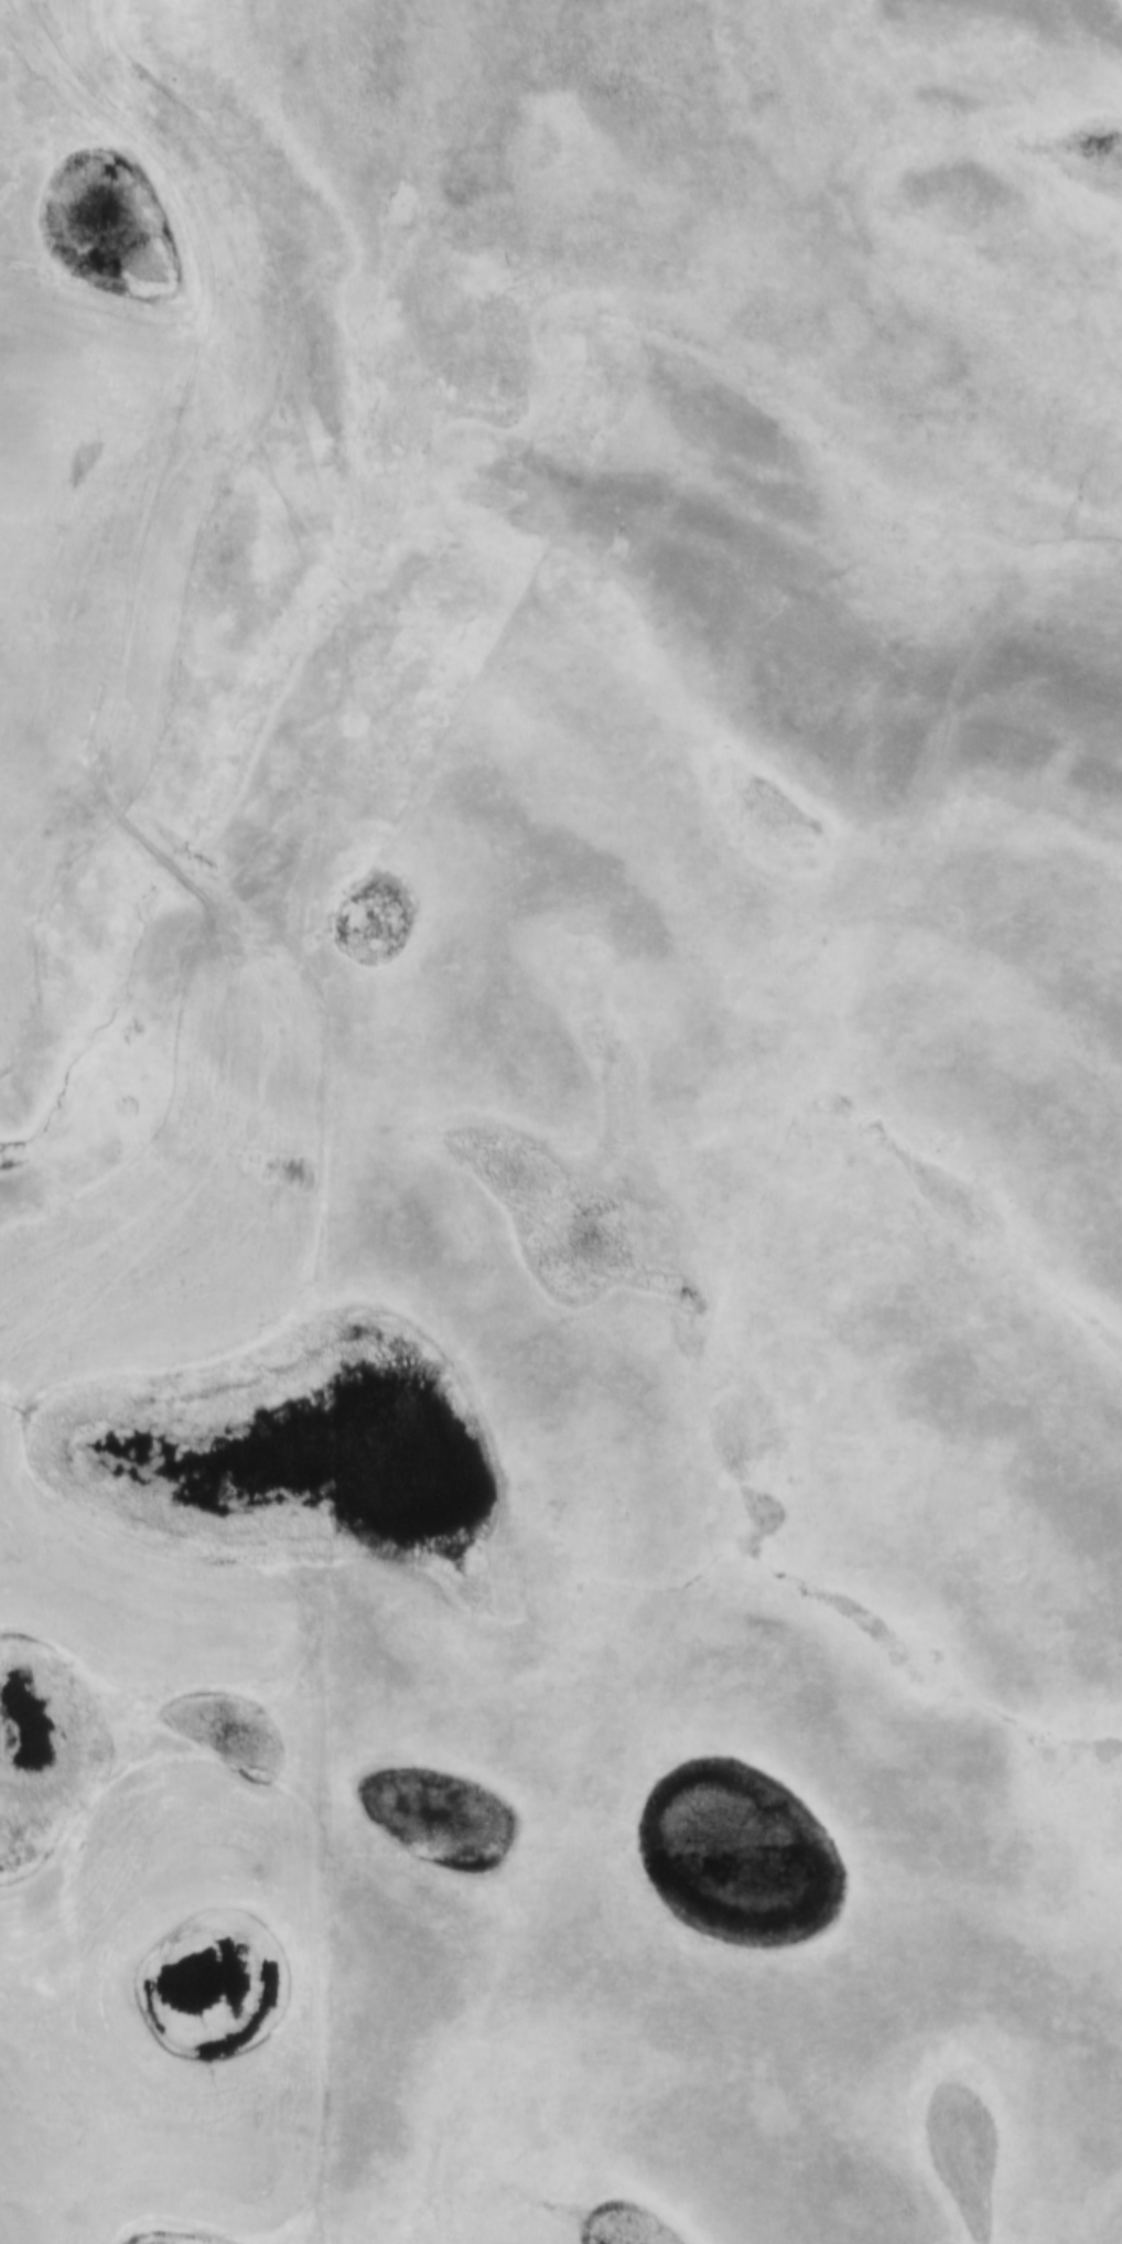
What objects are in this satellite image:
road: (132, 461)

